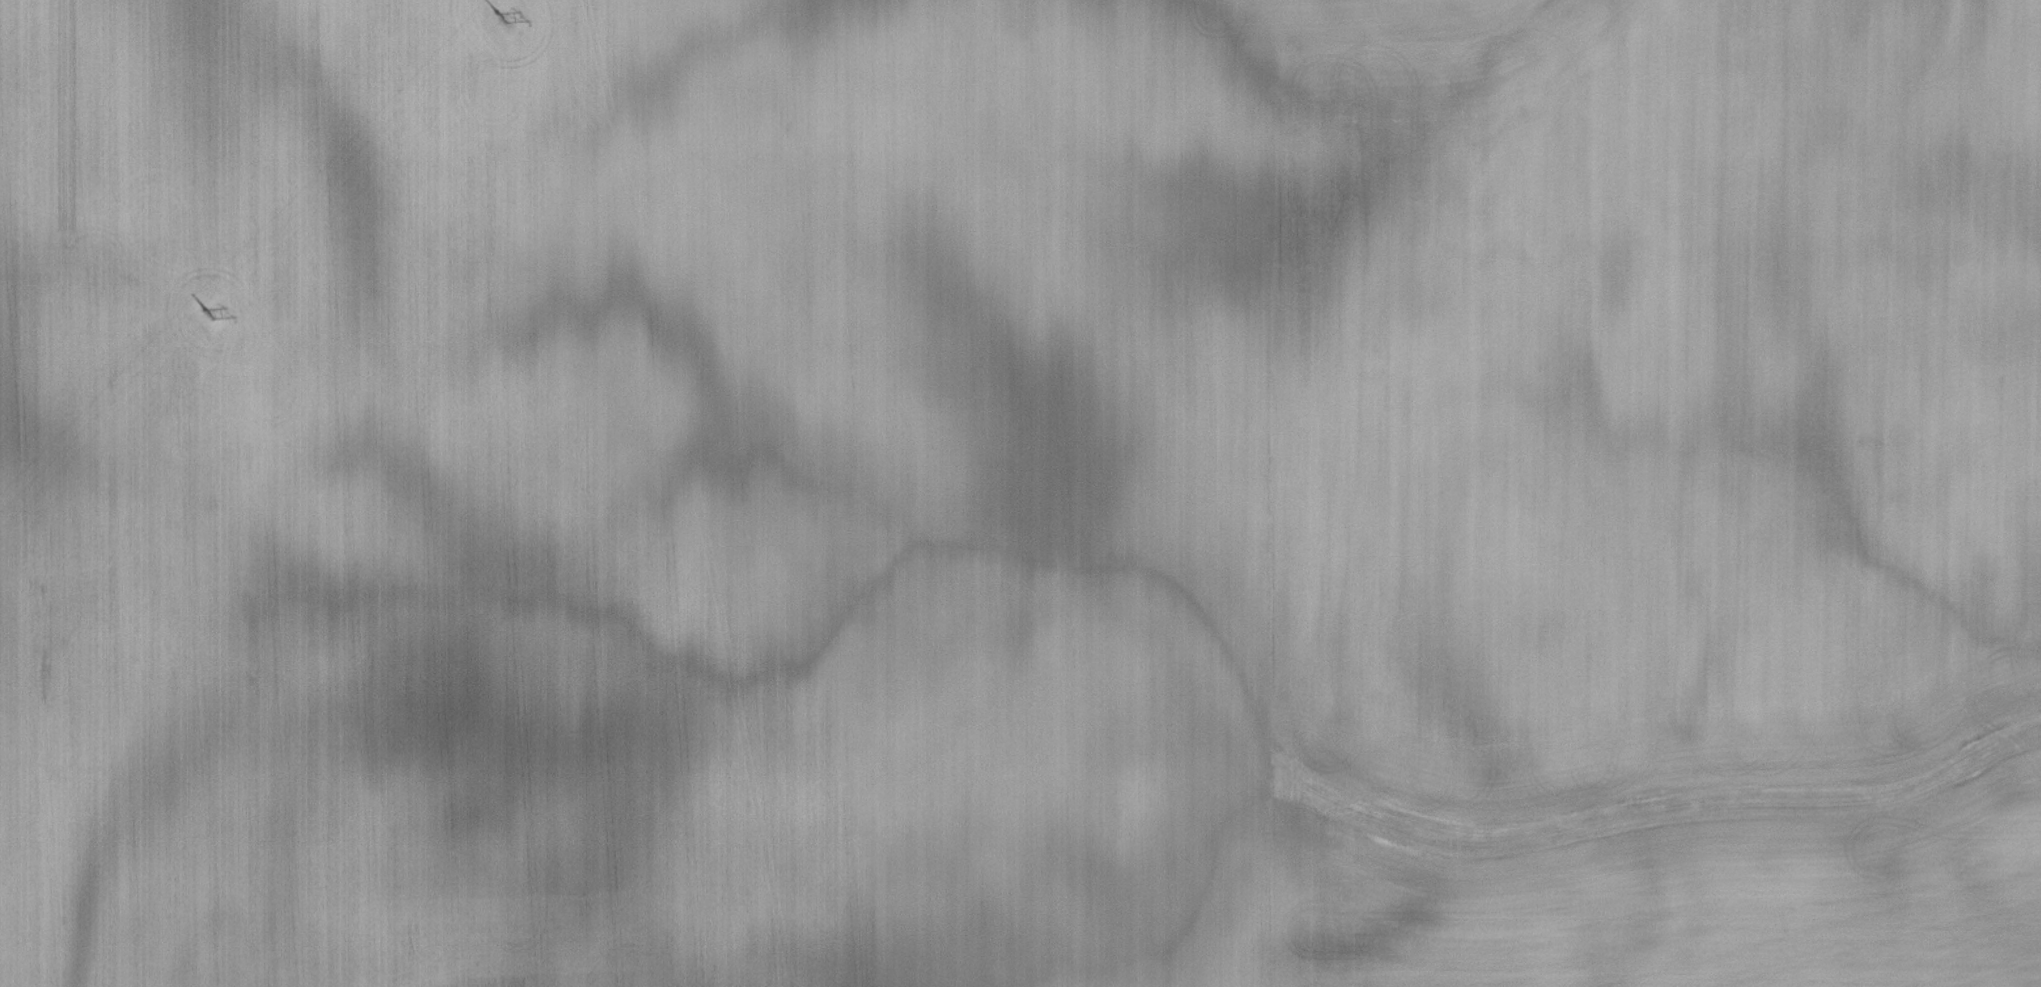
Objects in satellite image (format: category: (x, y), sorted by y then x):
power tower: (500, 19)
power tower: (208, 314)

